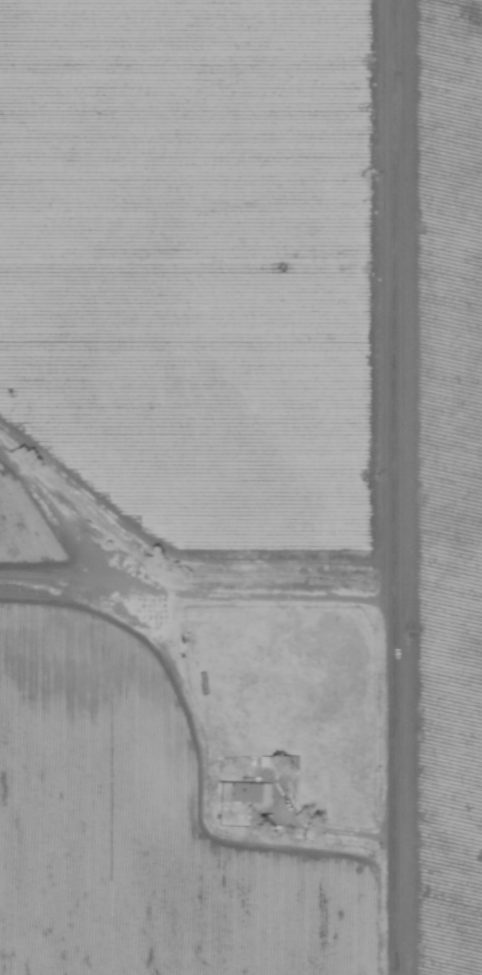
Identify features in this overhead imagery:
crop: (241, 487)
road: (401, 487)
road: (201, 589)
building: (249, 793)
road: (338, 833)

